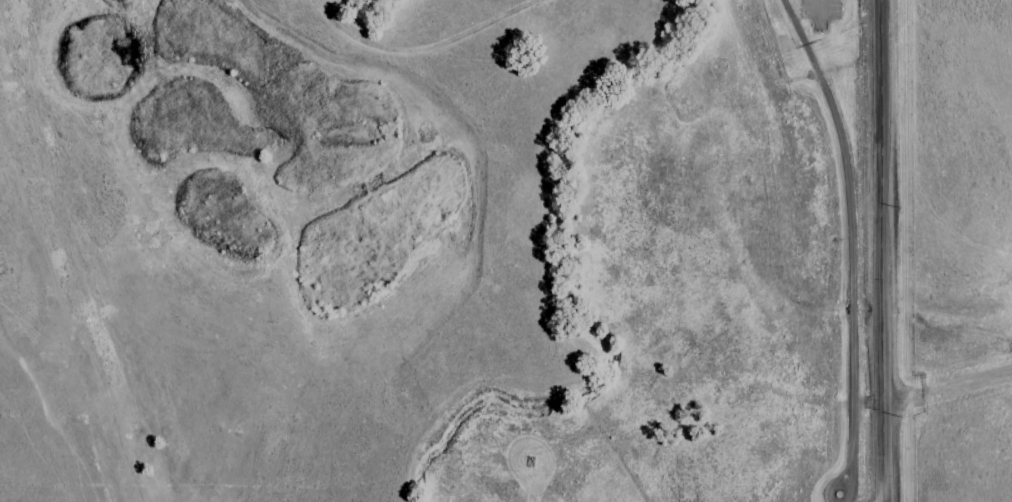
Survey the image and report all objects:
road: (818, 12)
road: (847, 244)
road: (884, 251)

